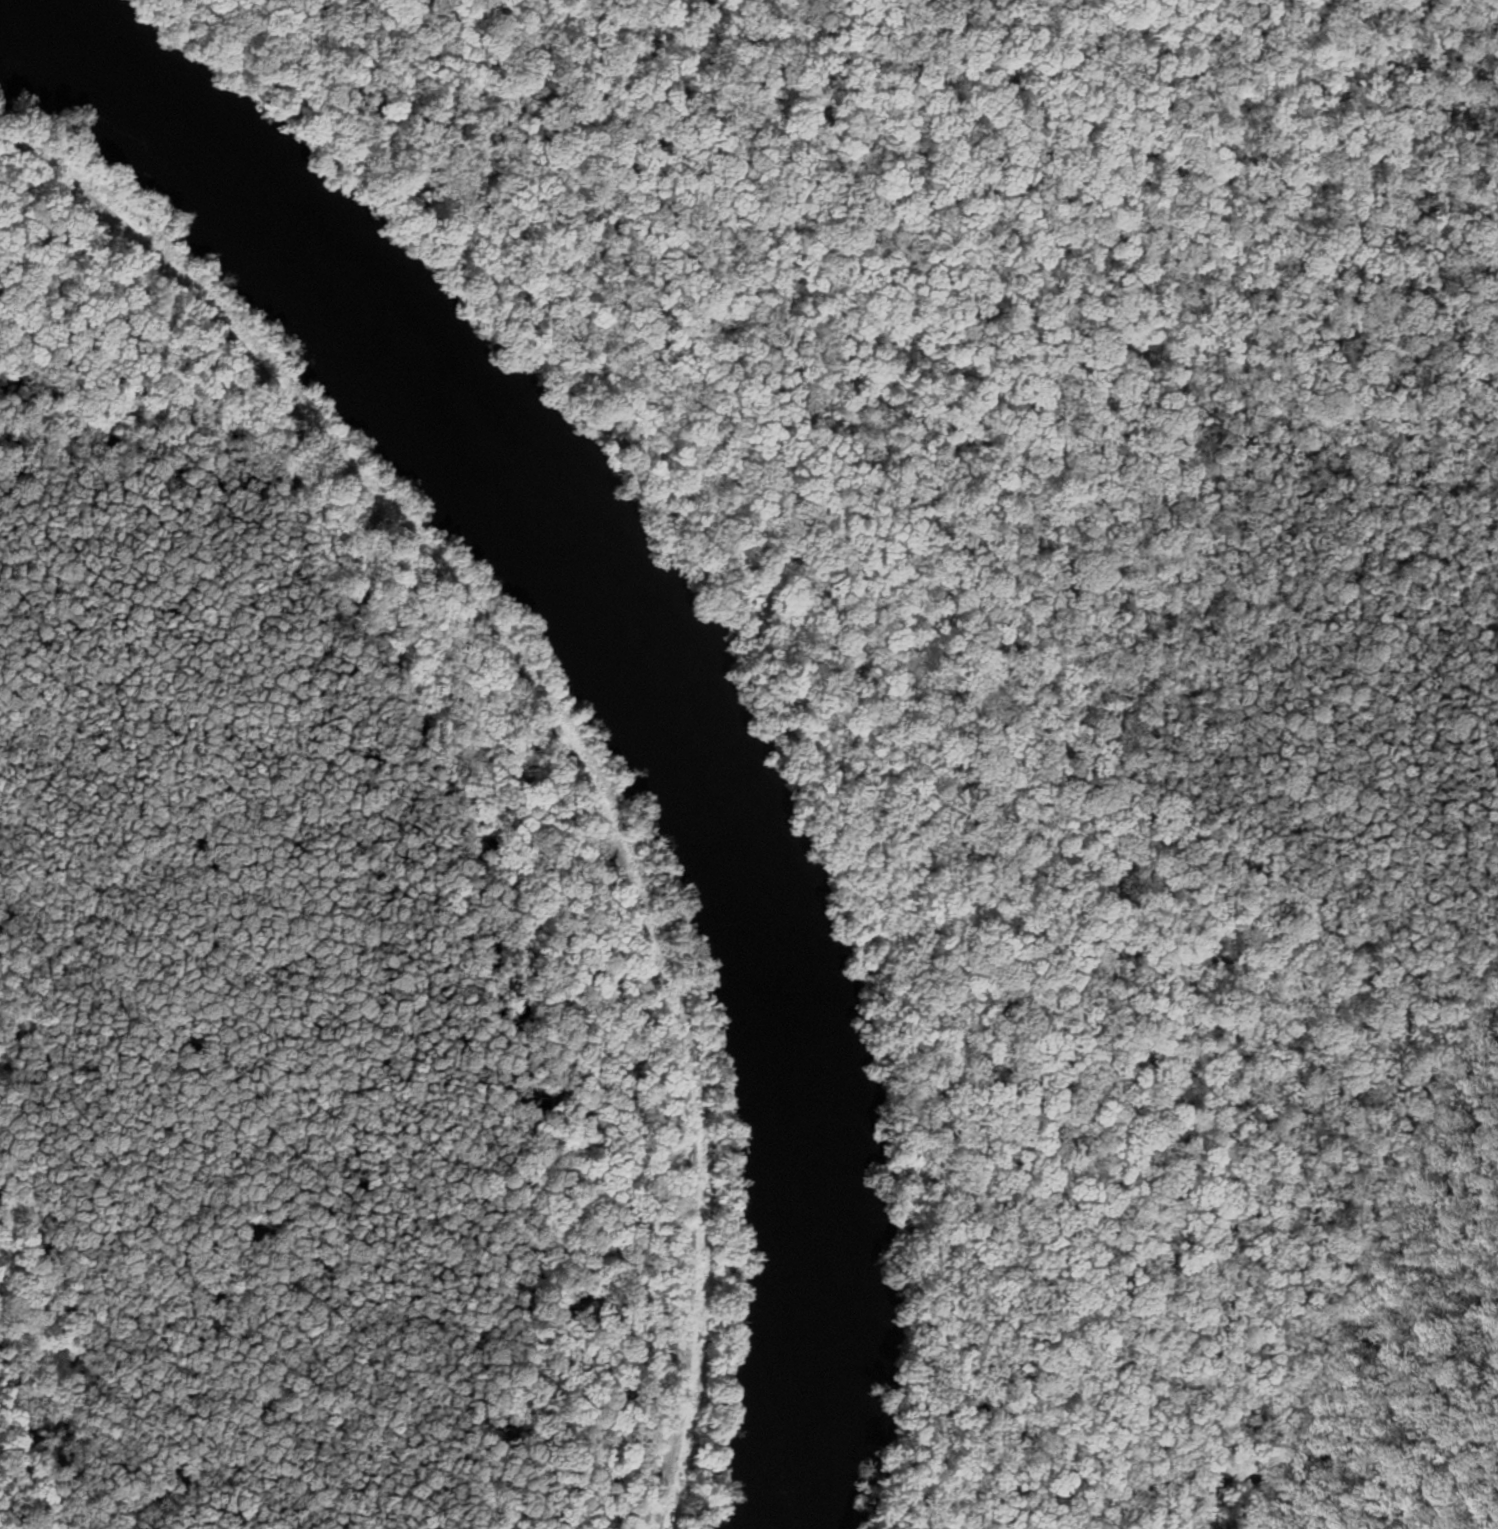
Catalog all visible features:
river: (627, 653)
road: (578, 732)

